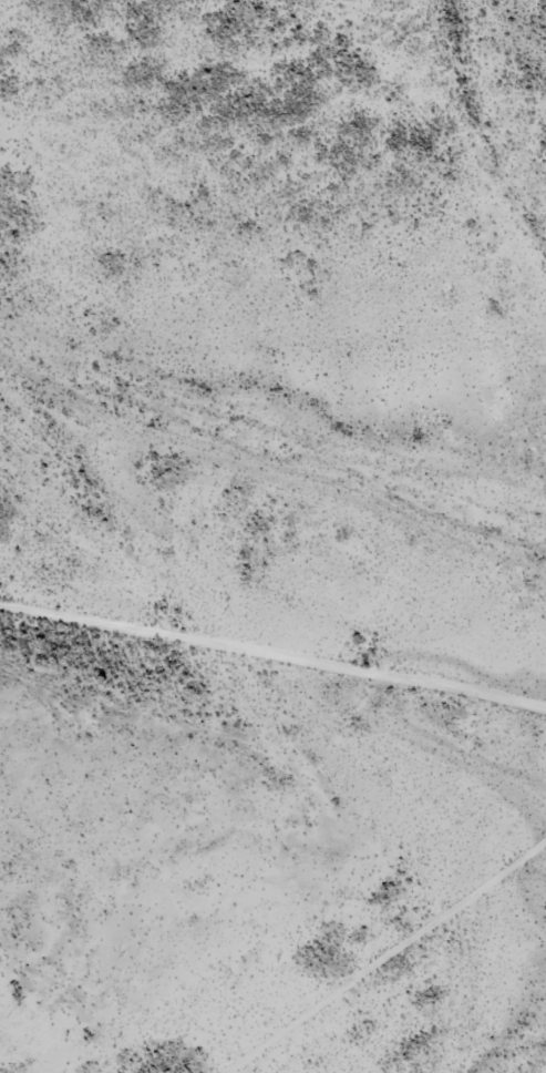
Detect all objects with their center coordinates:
road: (272, 663)

